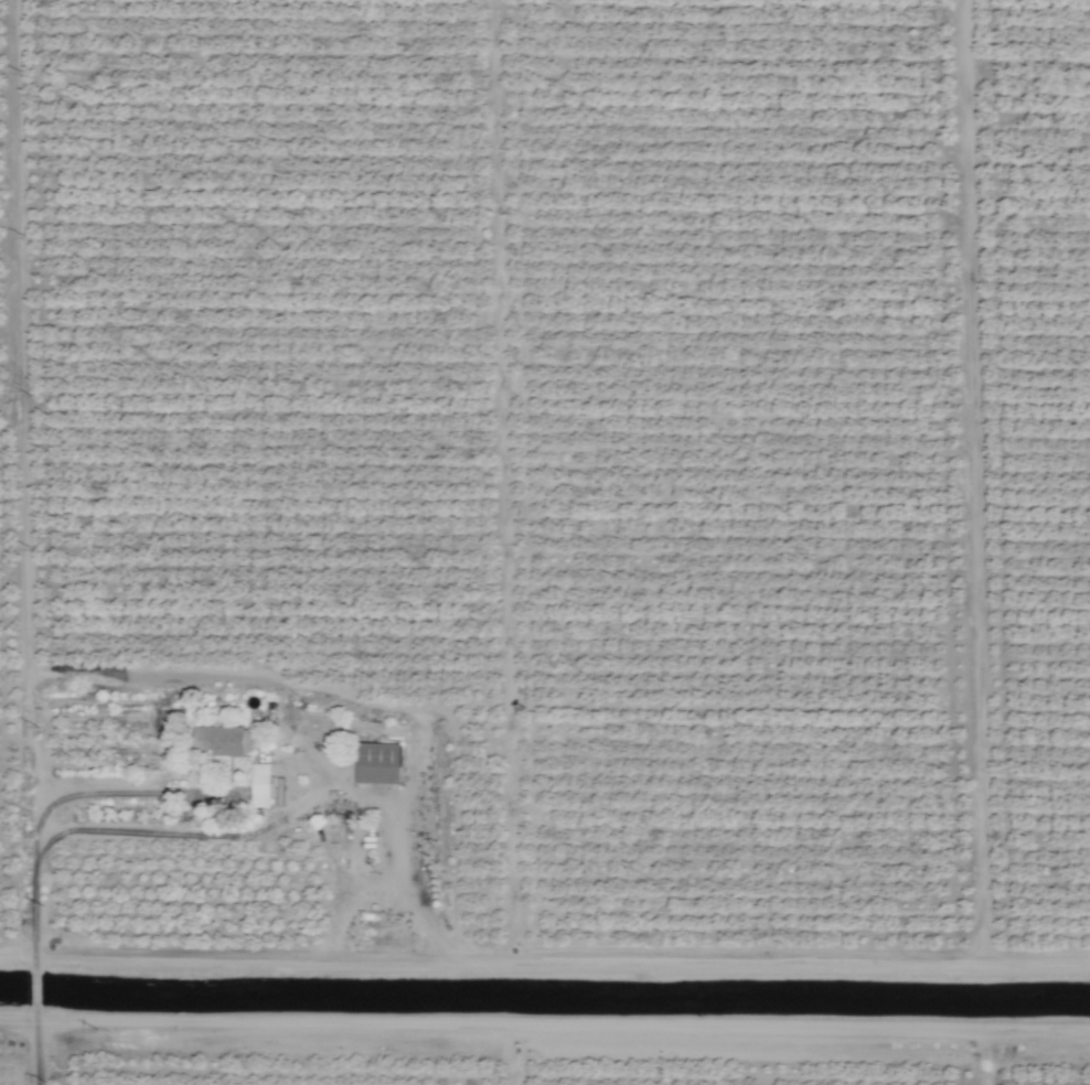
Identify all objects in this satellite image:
road: (29, 542)
road: (275, 678)
building: (225, 740)
building: (378, 762)
building: (260, 785)
road: (139, 792)
road: (183, 832)
road: (400, 861)
road: (544, 973)
road: (544, 1025)
road: (983, 1057)

